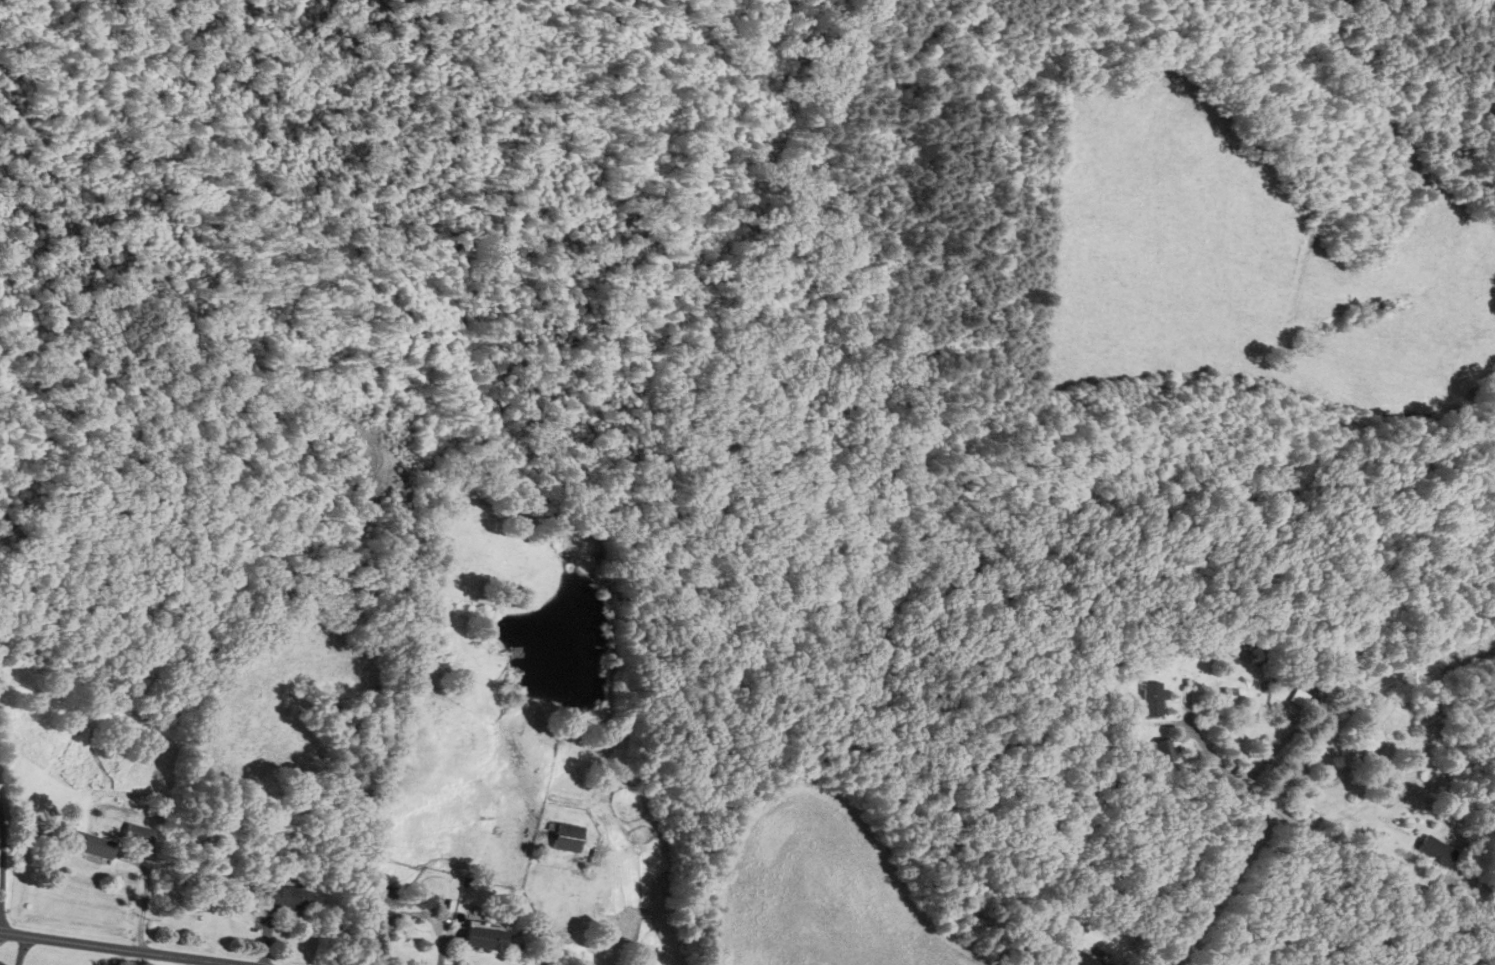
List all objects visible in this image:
building: (1227, 684)
building: (1175, 698)
building: (1164, 750)
building: (1336, 759)
building: (136, 835)
building: (566, 837)
road: (1328, 841)
road: (1, 842)
building: (91, 845)
building: (1436, 851)
building: (419, 897)
building: (287, 898)
road: (143, 916)
road: (1, 922)
building: (481, 938)
road: (119, 948)
road: (22, 950)
building: (1076, 958)

